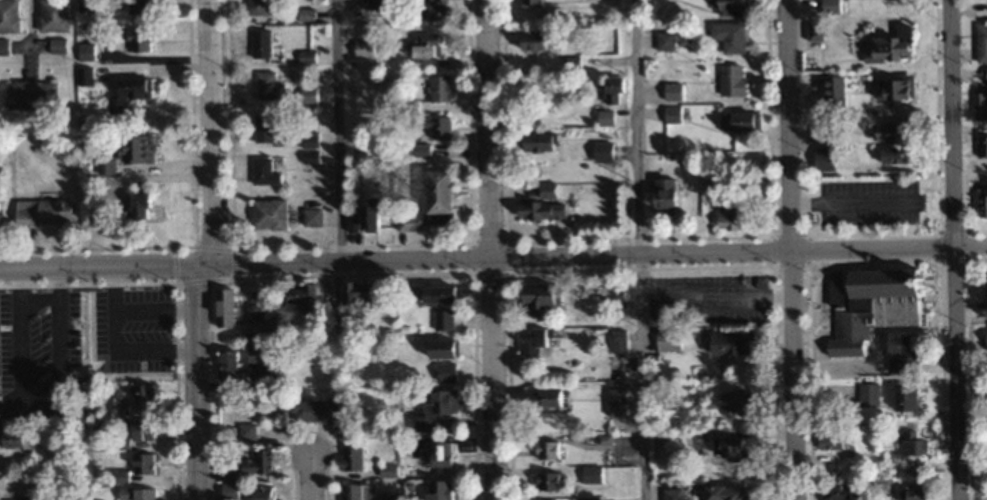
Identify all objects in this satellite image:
building: (528, 3)
building: (137, 7)
building: (257, 7)
building: (829, 7)
building: (730, 8)
building: (431, 10)
building: (52, 16)
building: (8, 17)
building: (729, 38)
building: (135, 42)
building: (531, 42)
building: (664, 42)
building: (981, 43)
building: (259, 45)
building: (892, 46)
building: (56, 47)
building: (427, 47)
building: (362, 48)
building: (84, 53)
building: (731, 81)
building: (267, 88)
building: (438, 89)
building: (612, 91)
building: (894, 92)
building: (672, 93)
building: (126, 95)
building: (306, 96)
building: (28, 97)
building: (980, 105)
building: (671, 116)
building: (604, 118)
building: (740, 122)
building: (435, 127)
building: (261, 129)
building: (892, 134)
building: (537, 143)
building: (981, 147)
building: (134, 150)
building: (420, 150)
building: (601, 152)
building: (896, 156)
building: (824, 160)
building: (103, 168)
road: (333, 168)
building: (261, 172)
building: (545, 191)
building: (437, 193)
building: (663, 196)
building: (985, 199)
building: (136, 207)
building: (41, 212)
building: (539, 212)
building: (266, 215)
building: (309, 217)
building: (362, 217)
building: (730, 219)
building: (409, 222)
road: (639, 249)
road: (790, 249)
road: (954, 249)
road: (206, 250)
road: (489, 250)
road: (493, 257)
building: (985, 291)
building: (358, 294)
building: (299, 295)
building: (438, 296)
building: (613, 296)
building: (538, 298)
building: (874, 303)
building: (222, 308)
building: (251, 314)
building: (442, 321)
building: (352, 325)
building: (530, 342)
building: (616, 342)
building: (666, 342)
building: (986, 344)
building: (729, 346)
building: (899, 347)
building: (440, 350)
building: (259, 355)
building: (226, 367)
building: (867, 395)
building: (139, 396)
road: (36, 399)
building: (904, 399)
building: (541, 401)
building: (615, 403)
building: (736, 404)
building: (433, 410)
building: (313, 412)
building: (140, 430)
building: (245, 432)
building: (829, 442)
building: (17, 443)
building: (911, 445)
building: (732, 450)
building: (546, 452)
building: (439, 457)
building: (349, 460)
building: (257, 463)
building: (141, 464)
building: (386, 472)
building: (590, 476)
road: (307, 477)
building: (545, 483)
building: (438, 491)
building: (355, 492)
building: (837, 492)
building: (260, 493)
building: (910, 493)
building: (134, 494)
building: (726, 494)
building: (387, 497)

